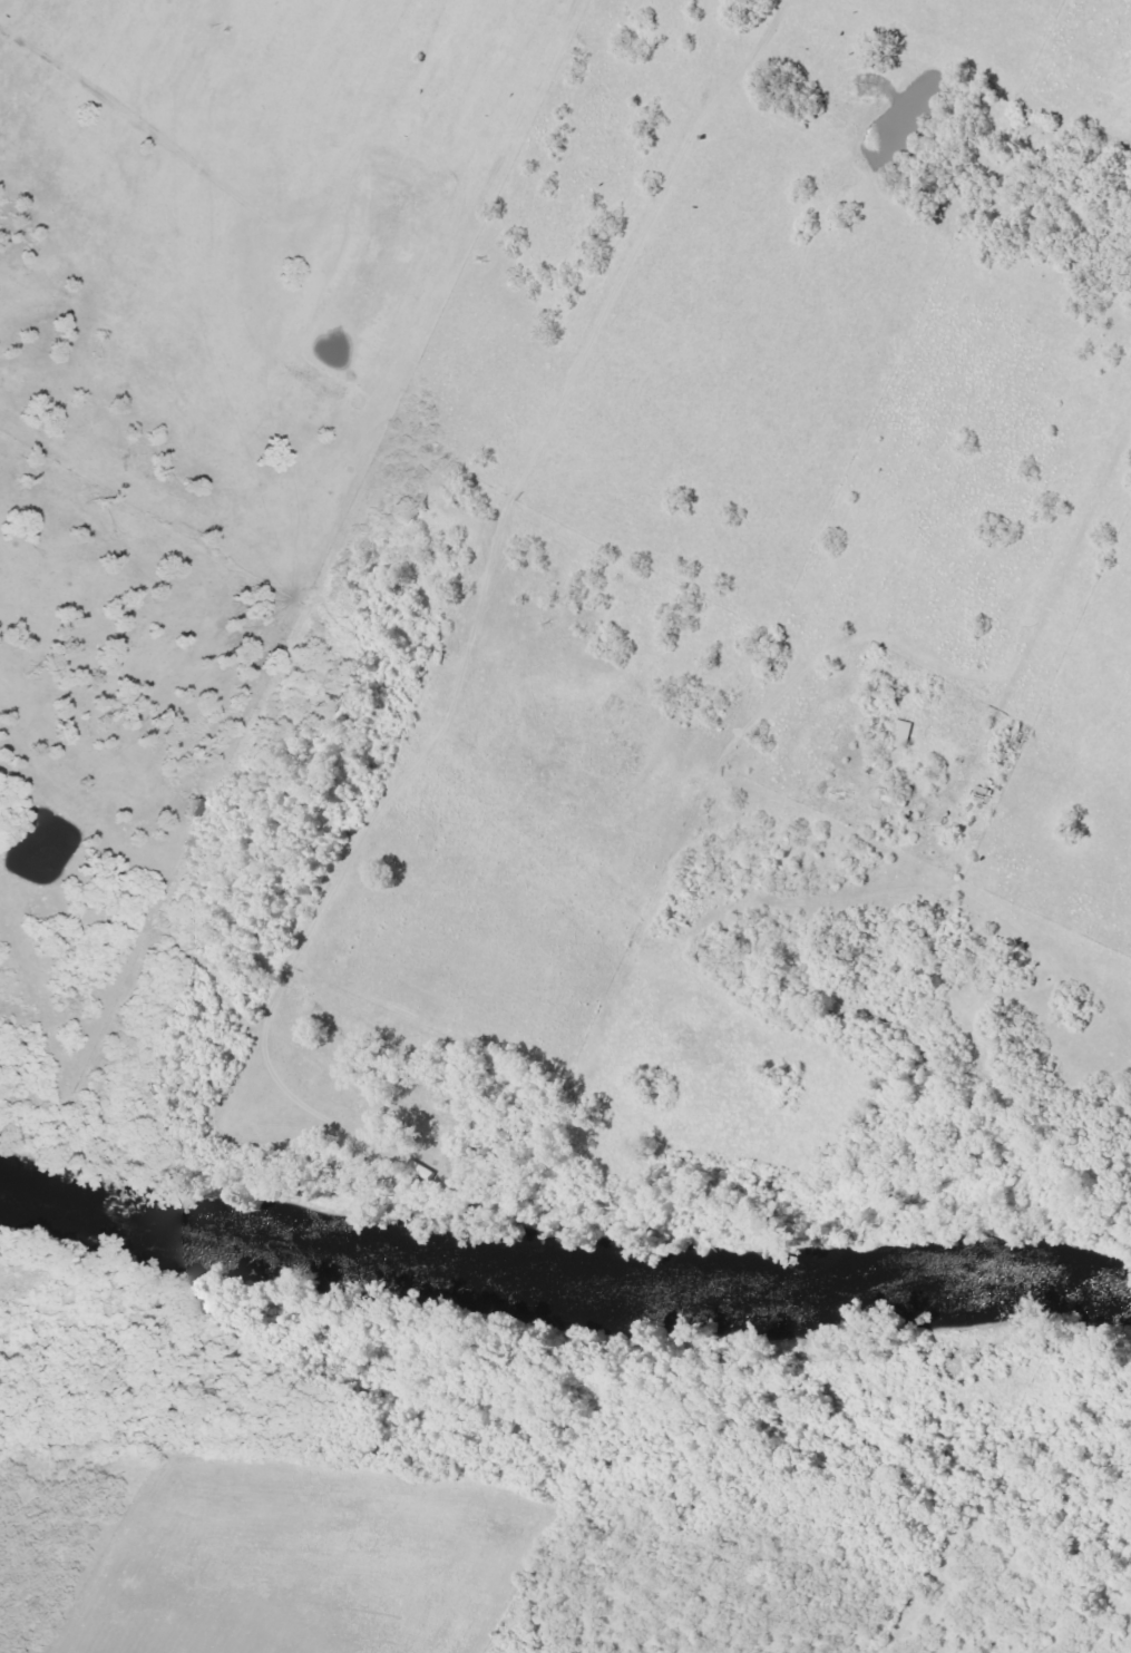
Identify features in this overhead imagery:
road: (104, 264)
road: (1034, 1035)
river: (574, 1249)

